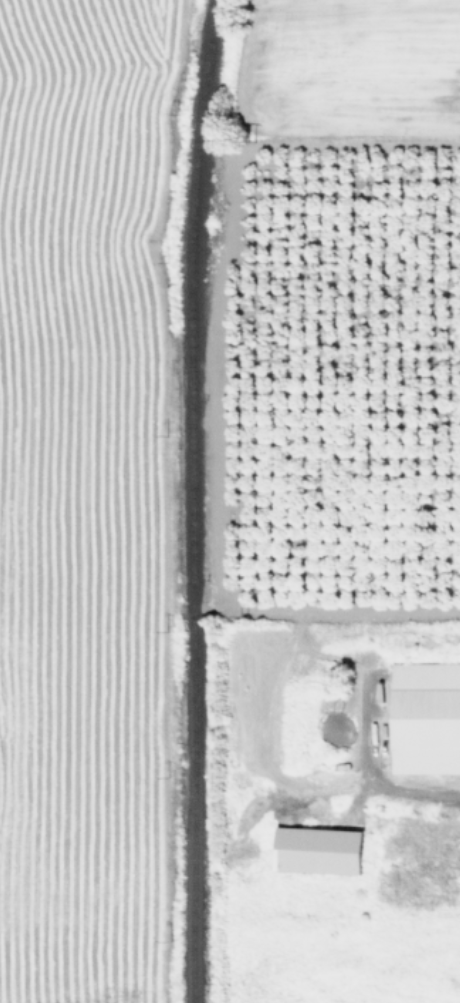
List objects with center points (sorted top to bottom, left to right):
crop: (357, 304)
railway: (190, 500)
building: (425, 717)
building: (316, 850)

